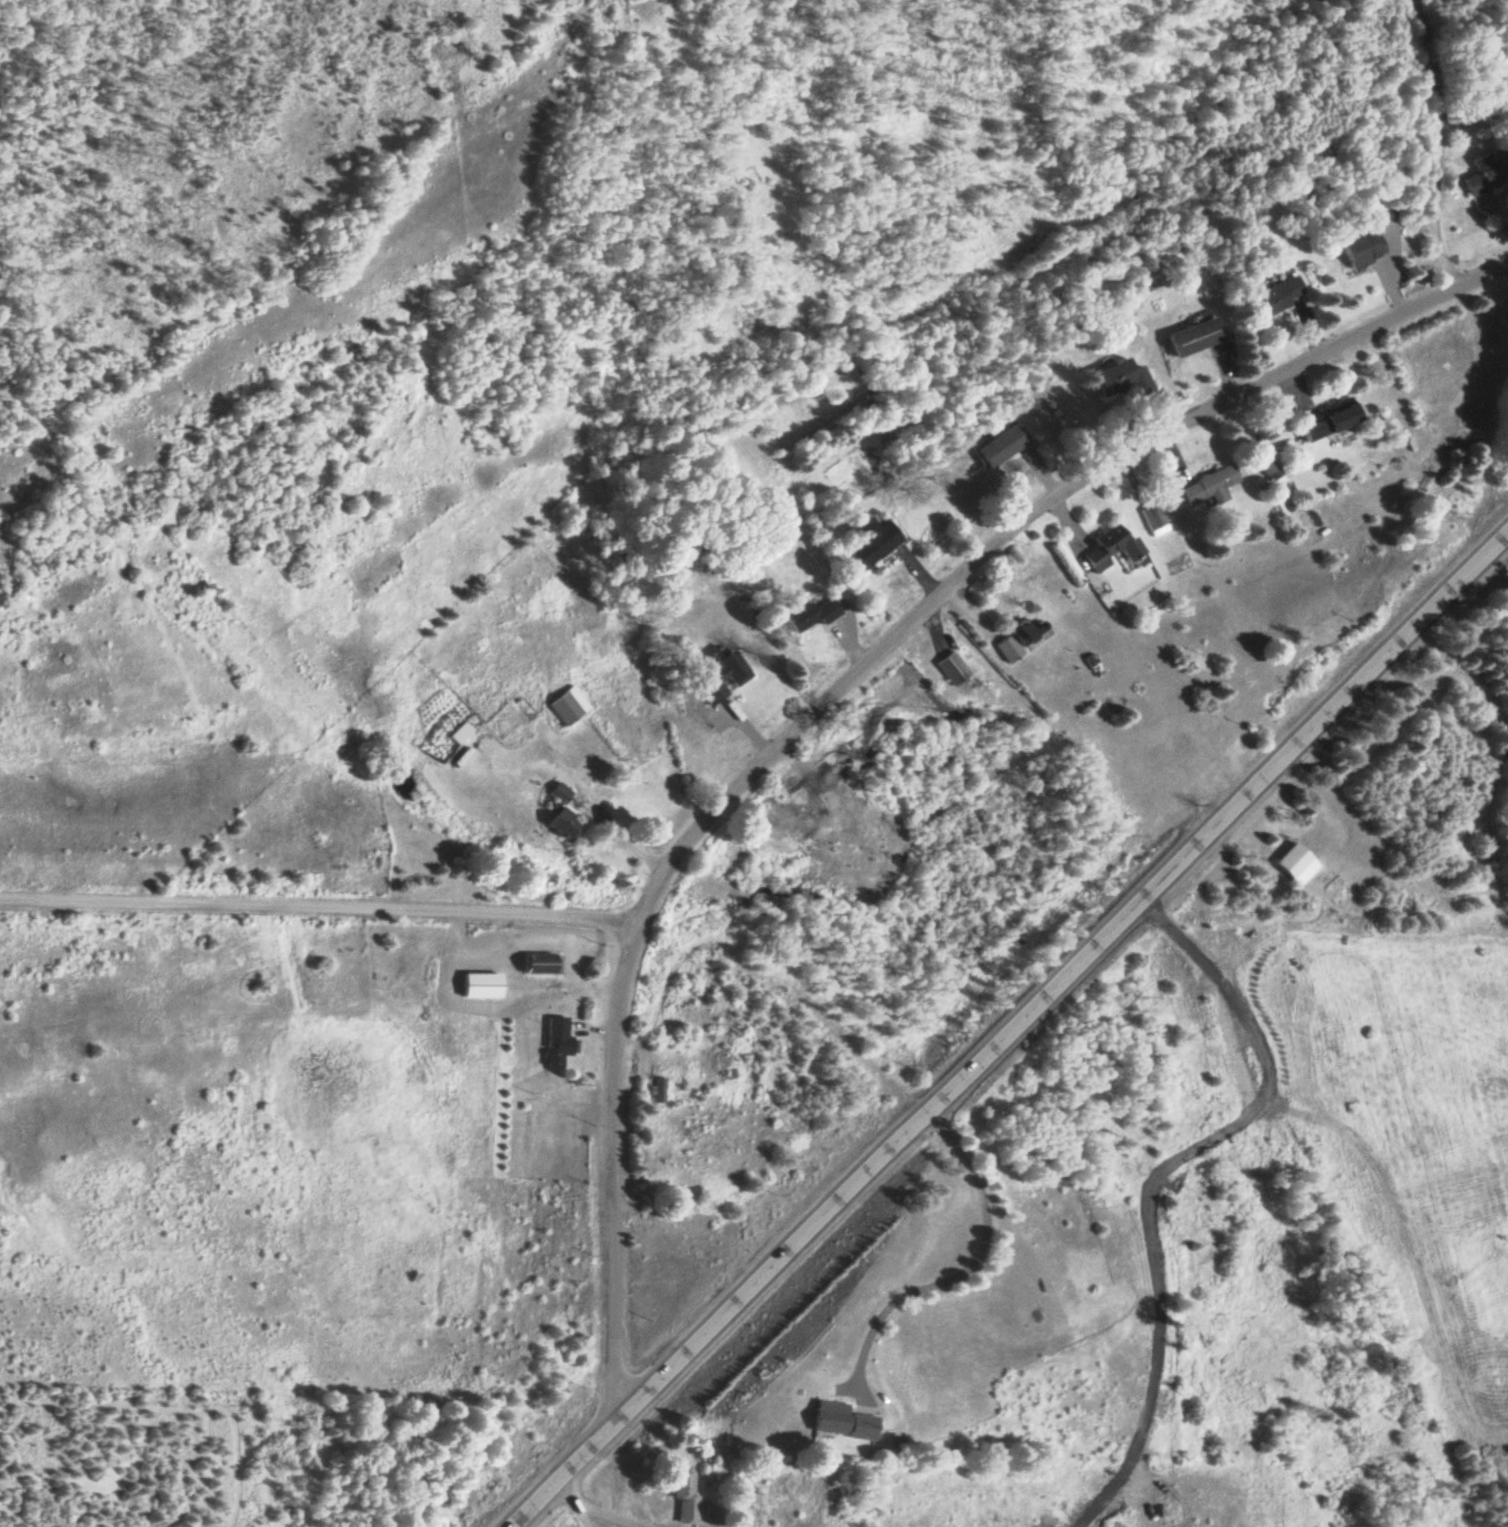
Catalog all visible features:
road: (1436, 143)
building: (1485, 175)
building: (1359, 251)
building: (1275, 299)
building: (1193, 339)
building: (1120, 382)
building: (1331, 421)
building: (1000, 447)
building: (1267, 467)
building: (1210, 489)
building: (1153, 520)
building: (871, 543)
building: (1111, 550)
building: (811, 617)
building: (1031, 633)
building: (1008, 651)
building: (951, 671)
building: (721, 678)
road: (834, 695)
building: (567, 708)
building: (561, 817)
building: (1295, 867)
road: (320, 909)
building: (540, 966)
building: (480, 988)
road: (1013, 1032)
building: (557, 1045)
building: (658, 1092)
building: (841, 1423)
building: (685, 1499)

